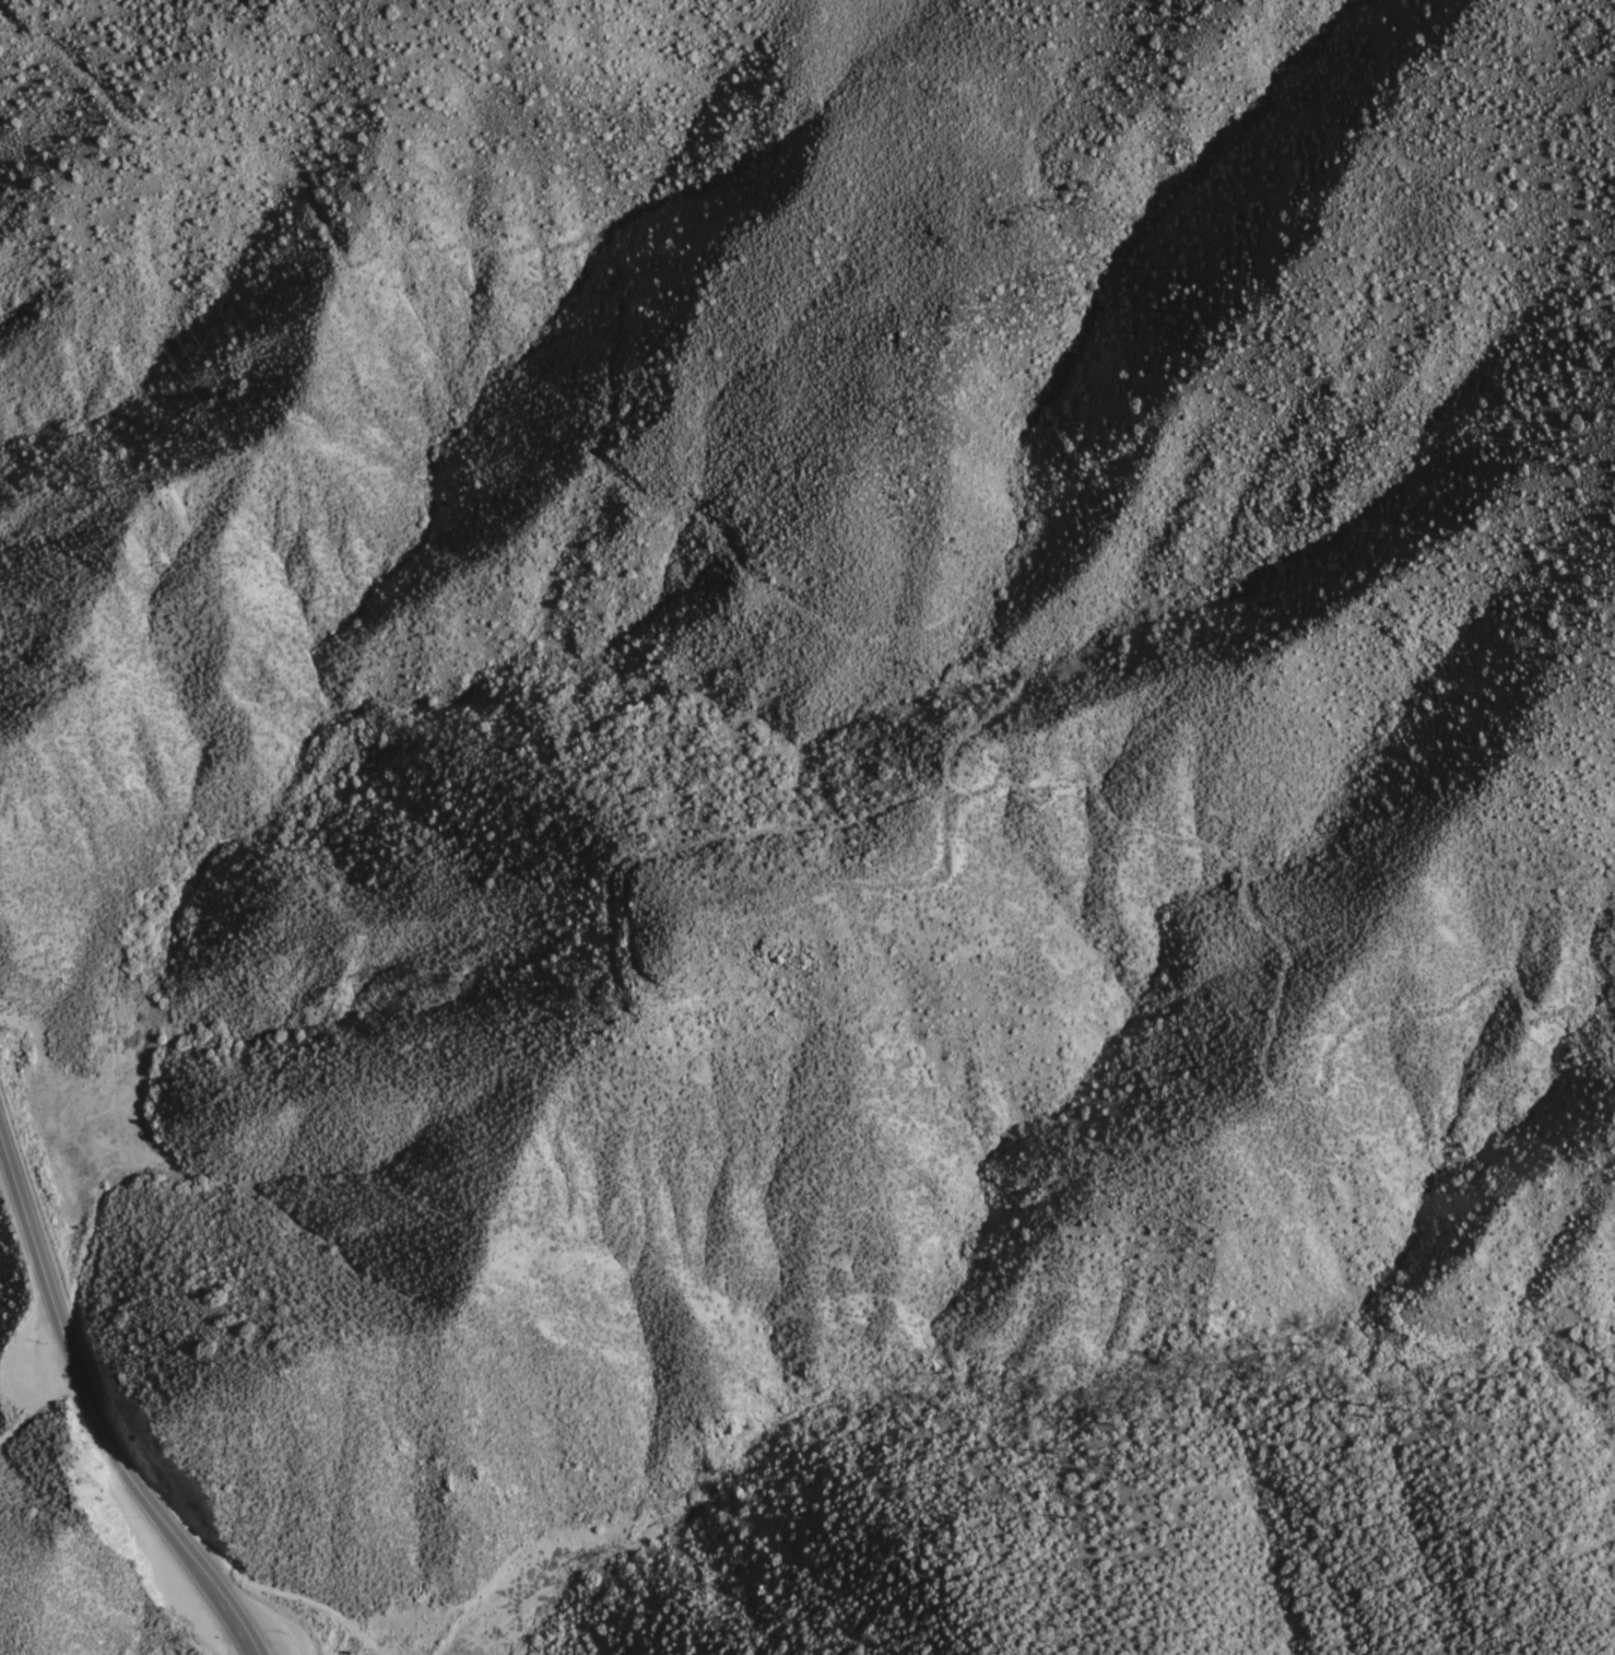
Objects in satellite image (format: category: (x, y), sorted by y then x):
power tower: (462, 689)
road: (92, 1415)
power tower: (979, 1469)

